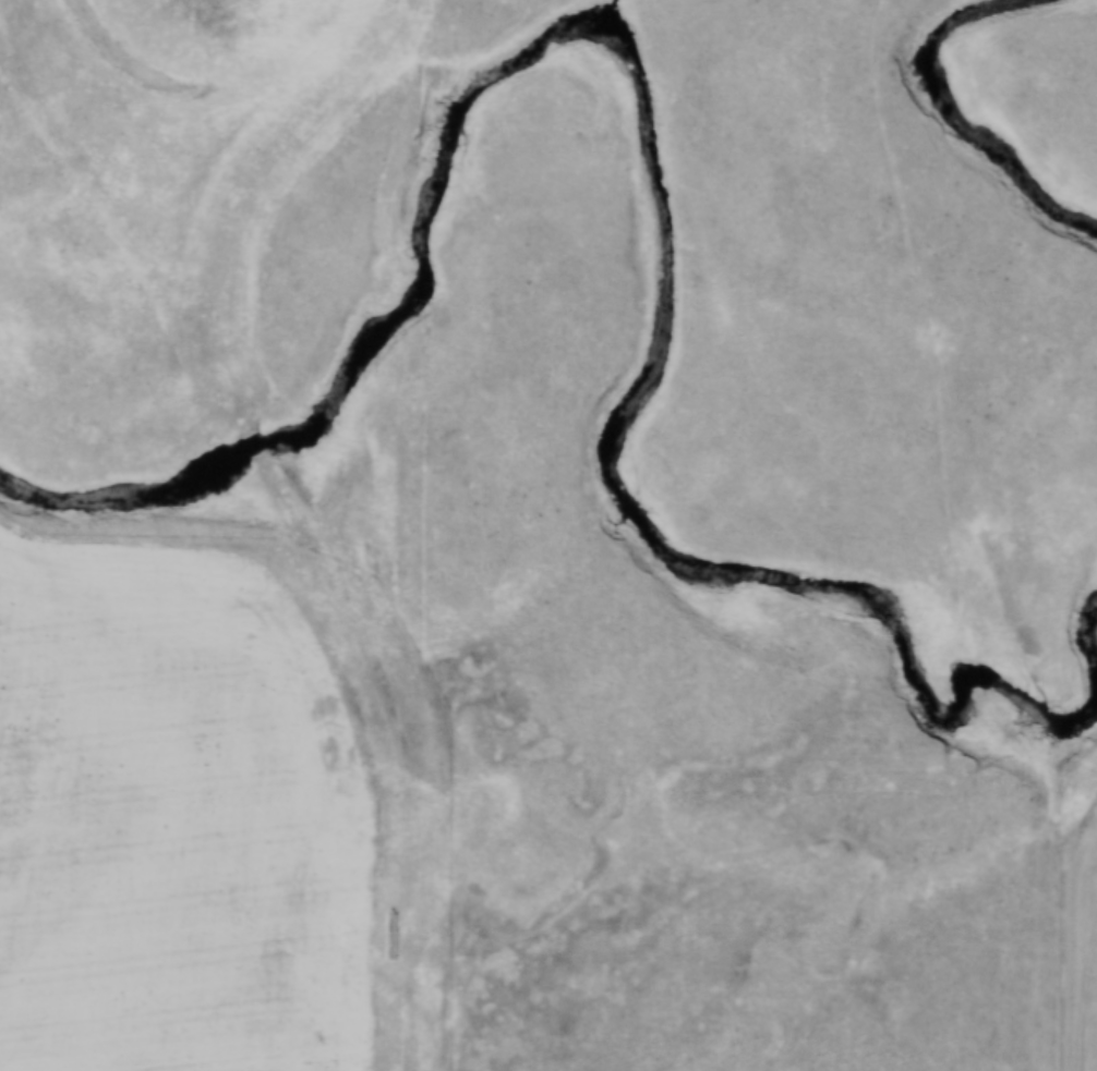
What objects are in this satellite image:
road: (400, 752)
road: (1072, 925)

